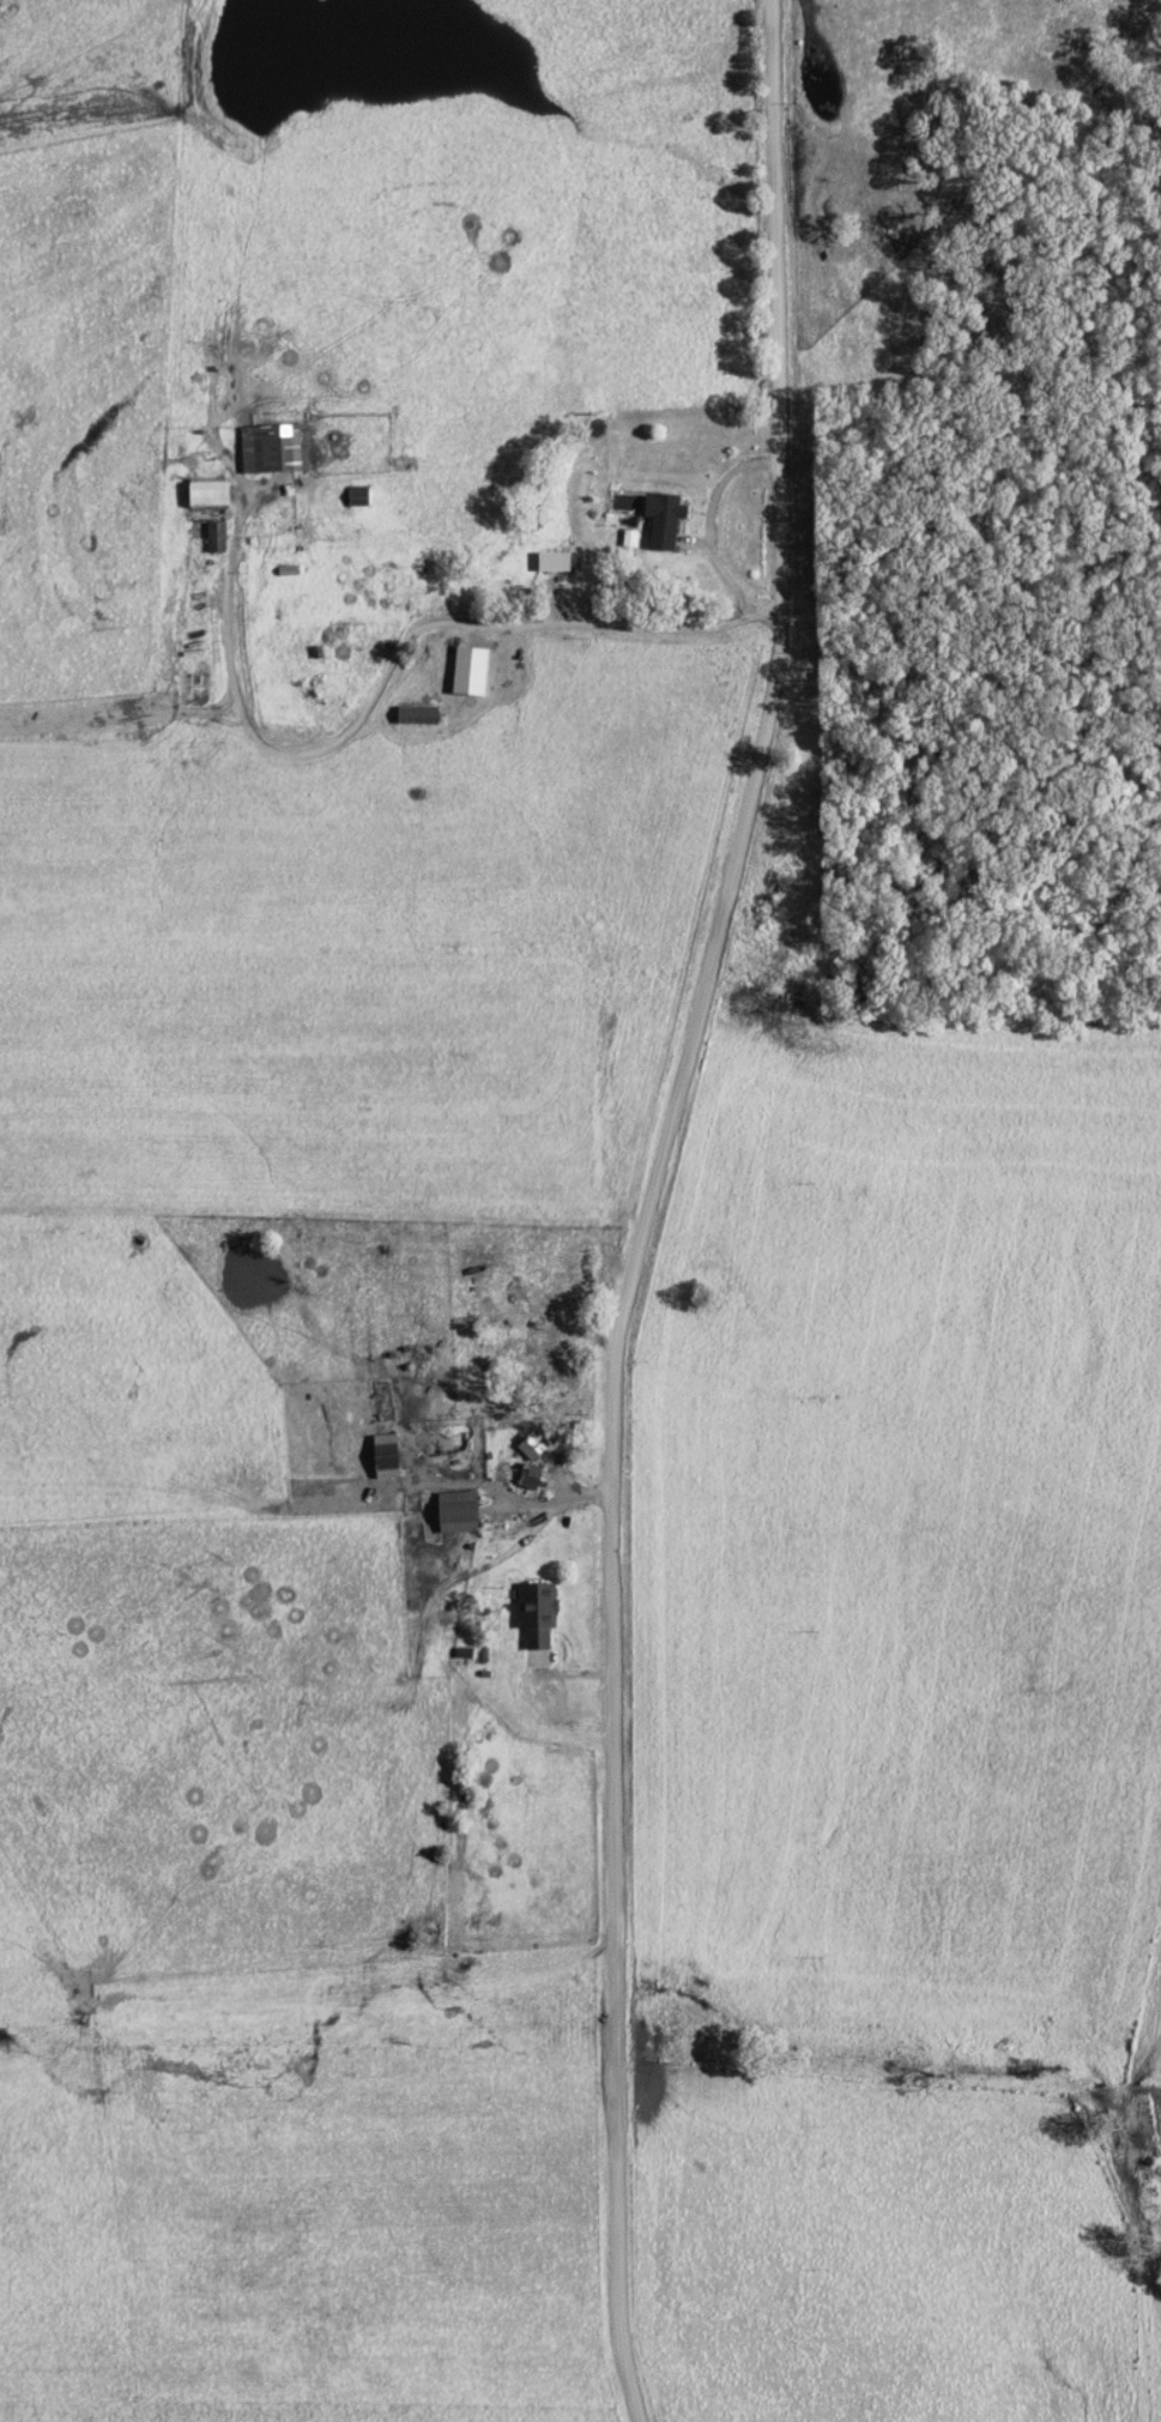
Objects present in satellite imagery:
building: (205, 495)
building: (661, 520)
road: (712, 532)
building: (552, 563)
road: (392, 663)
building: (470, 672)
building: (416, 717)
road: (646, 1206)
building: (530, 1448)
building: (383, 1456)
building: (528, 1479)
building: (455, 1512)
building: (537, 1613)
road: (534, 1692)

